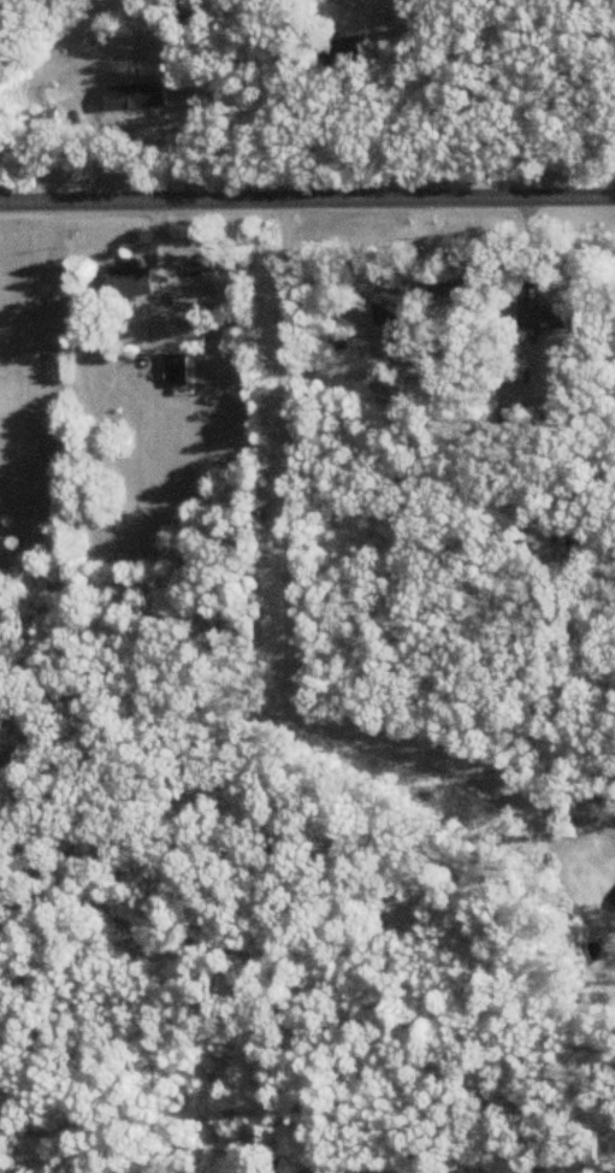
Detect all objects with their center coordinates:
road: (413, 84)
building: (136, 95)
road: (307, 199)
building: (130, 281)
building: (396, 305)
building: (550, 314)
building: (176, 369)
road: (292, 617)

